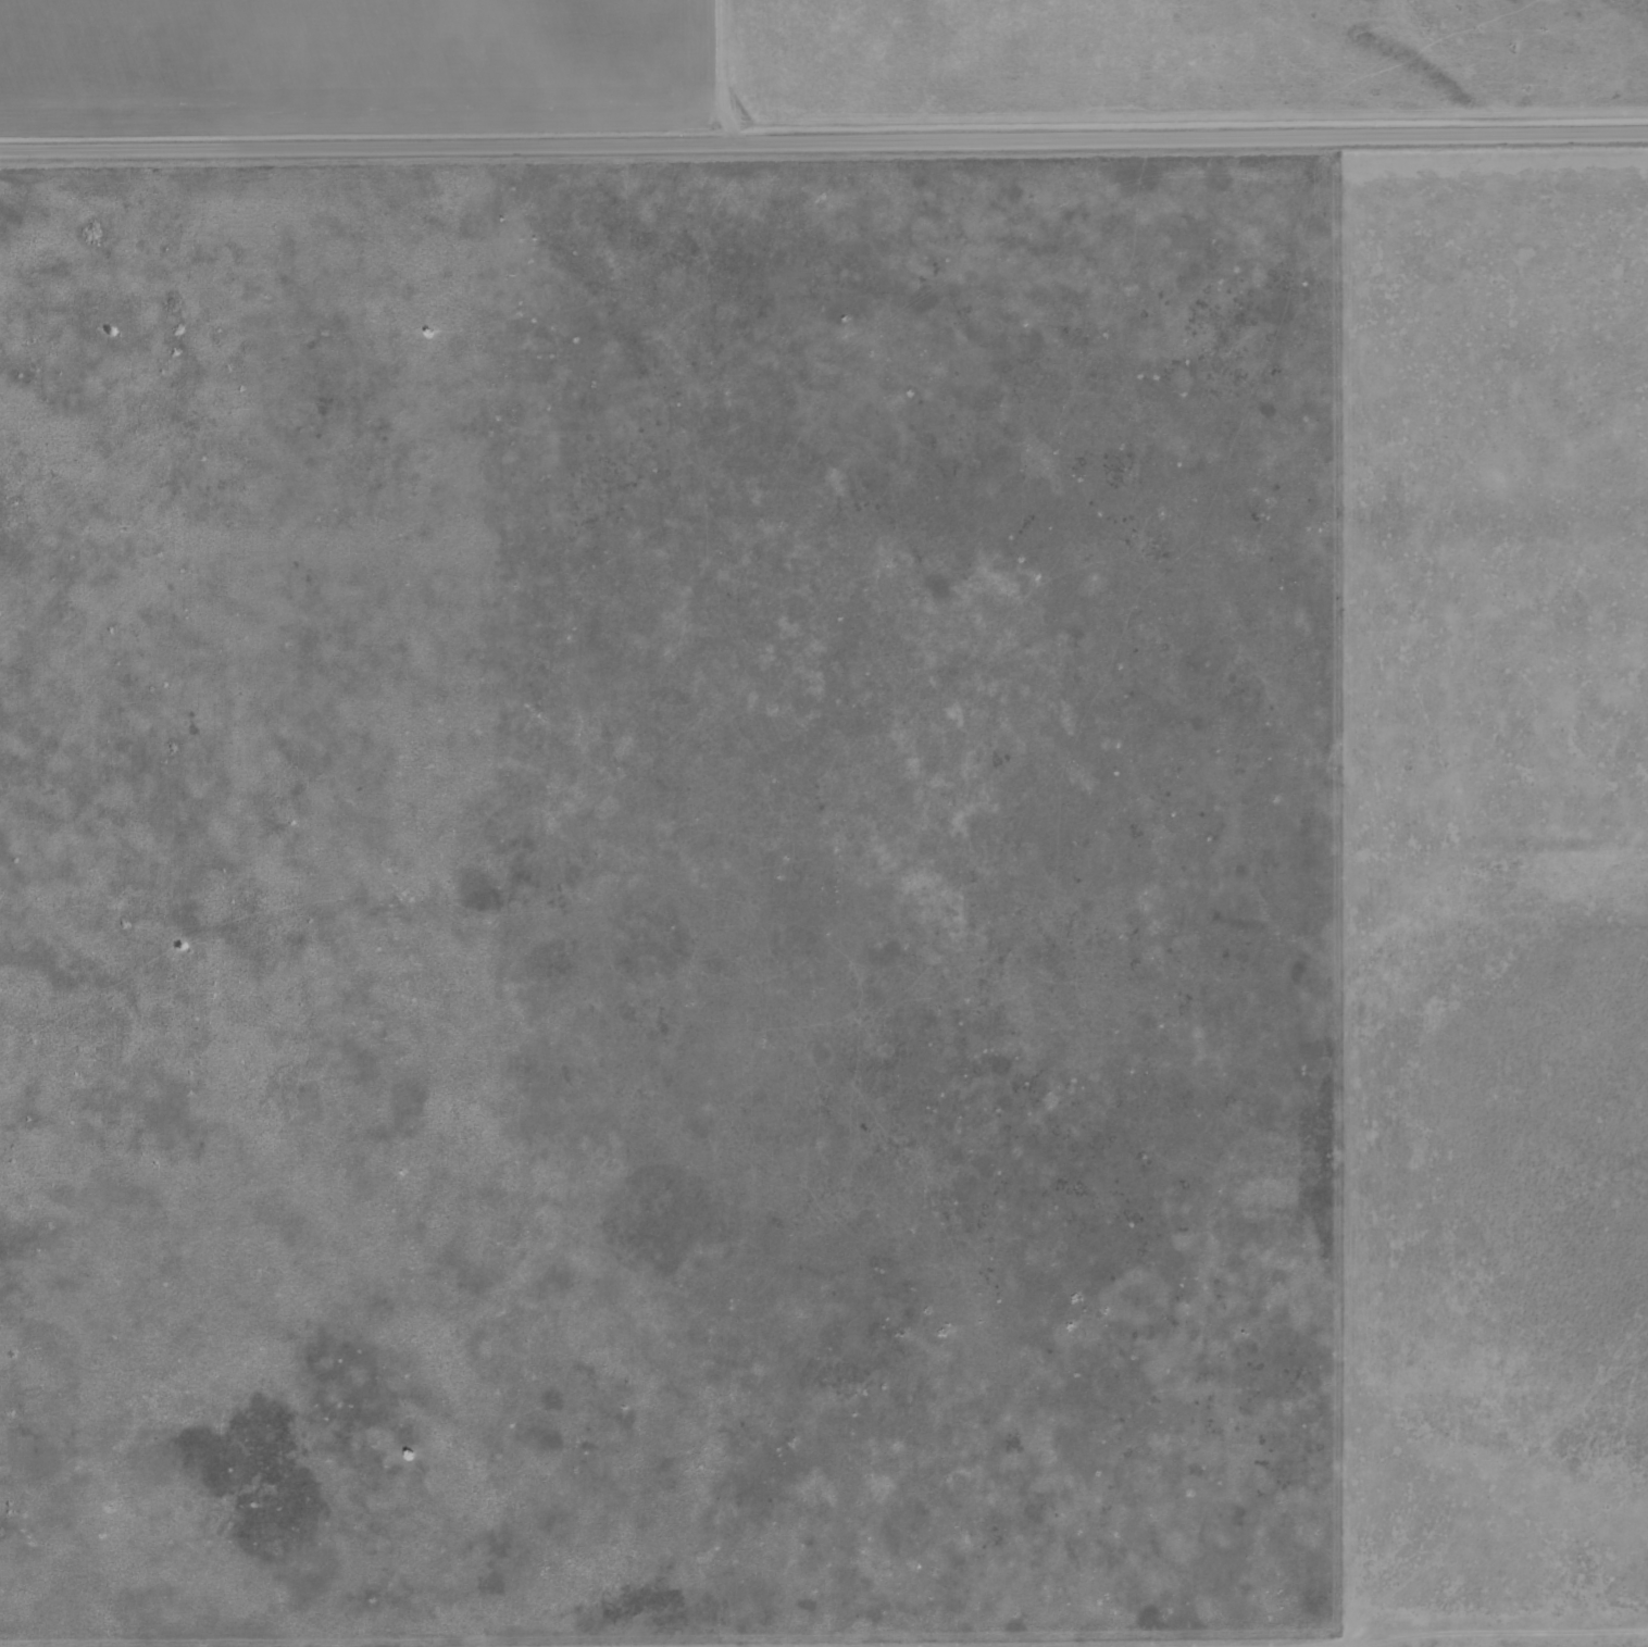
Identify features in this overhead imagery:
road: (824, 136)

